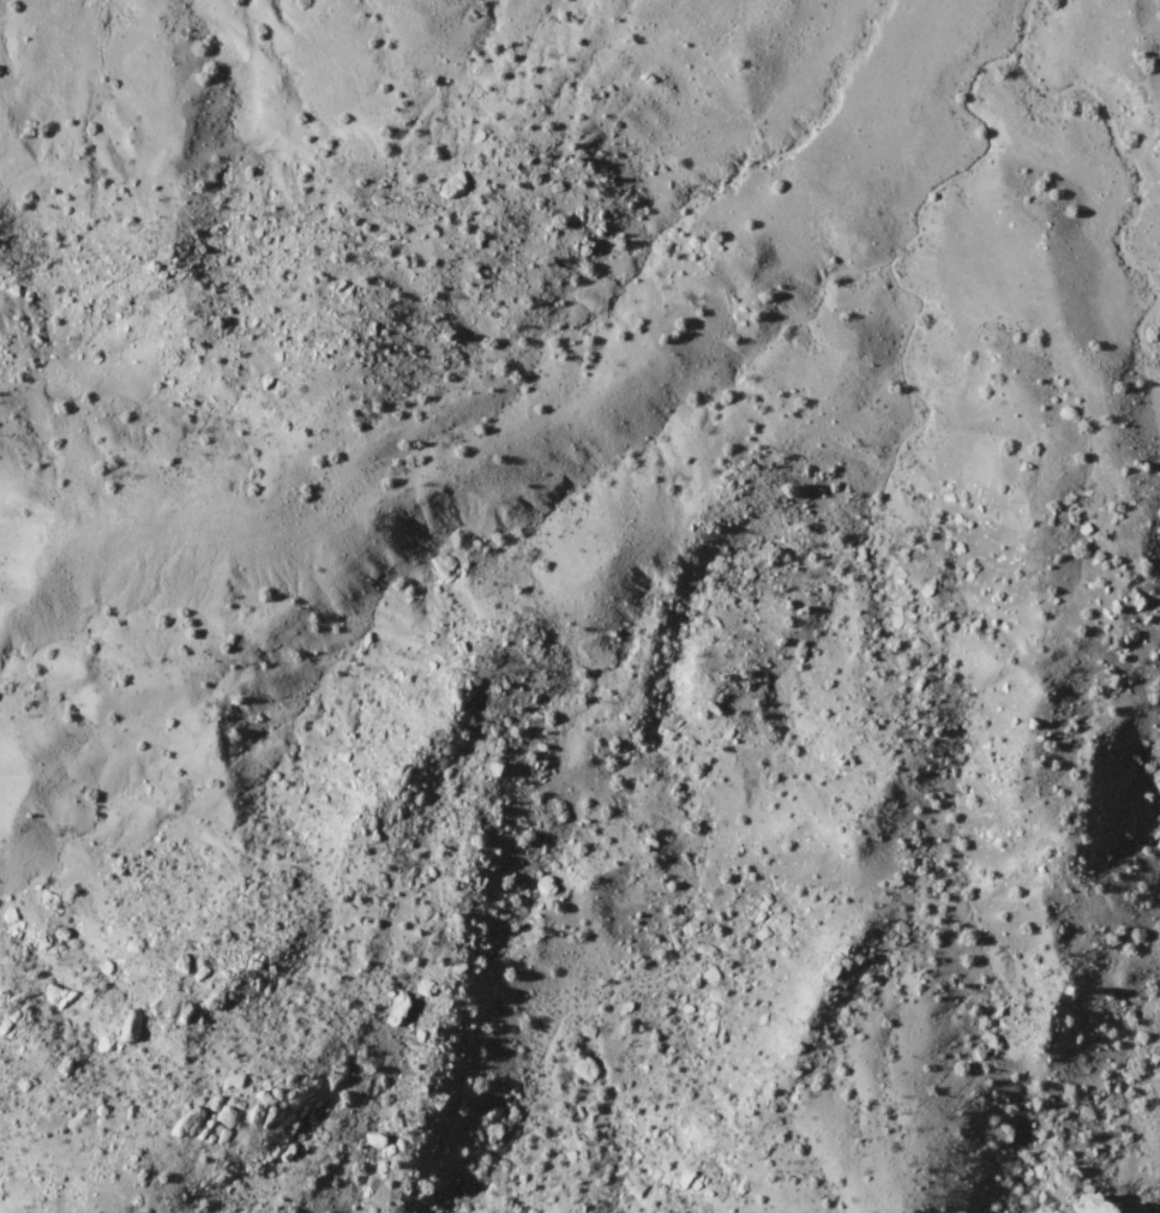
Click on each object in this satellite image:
building: (583, 1064)

